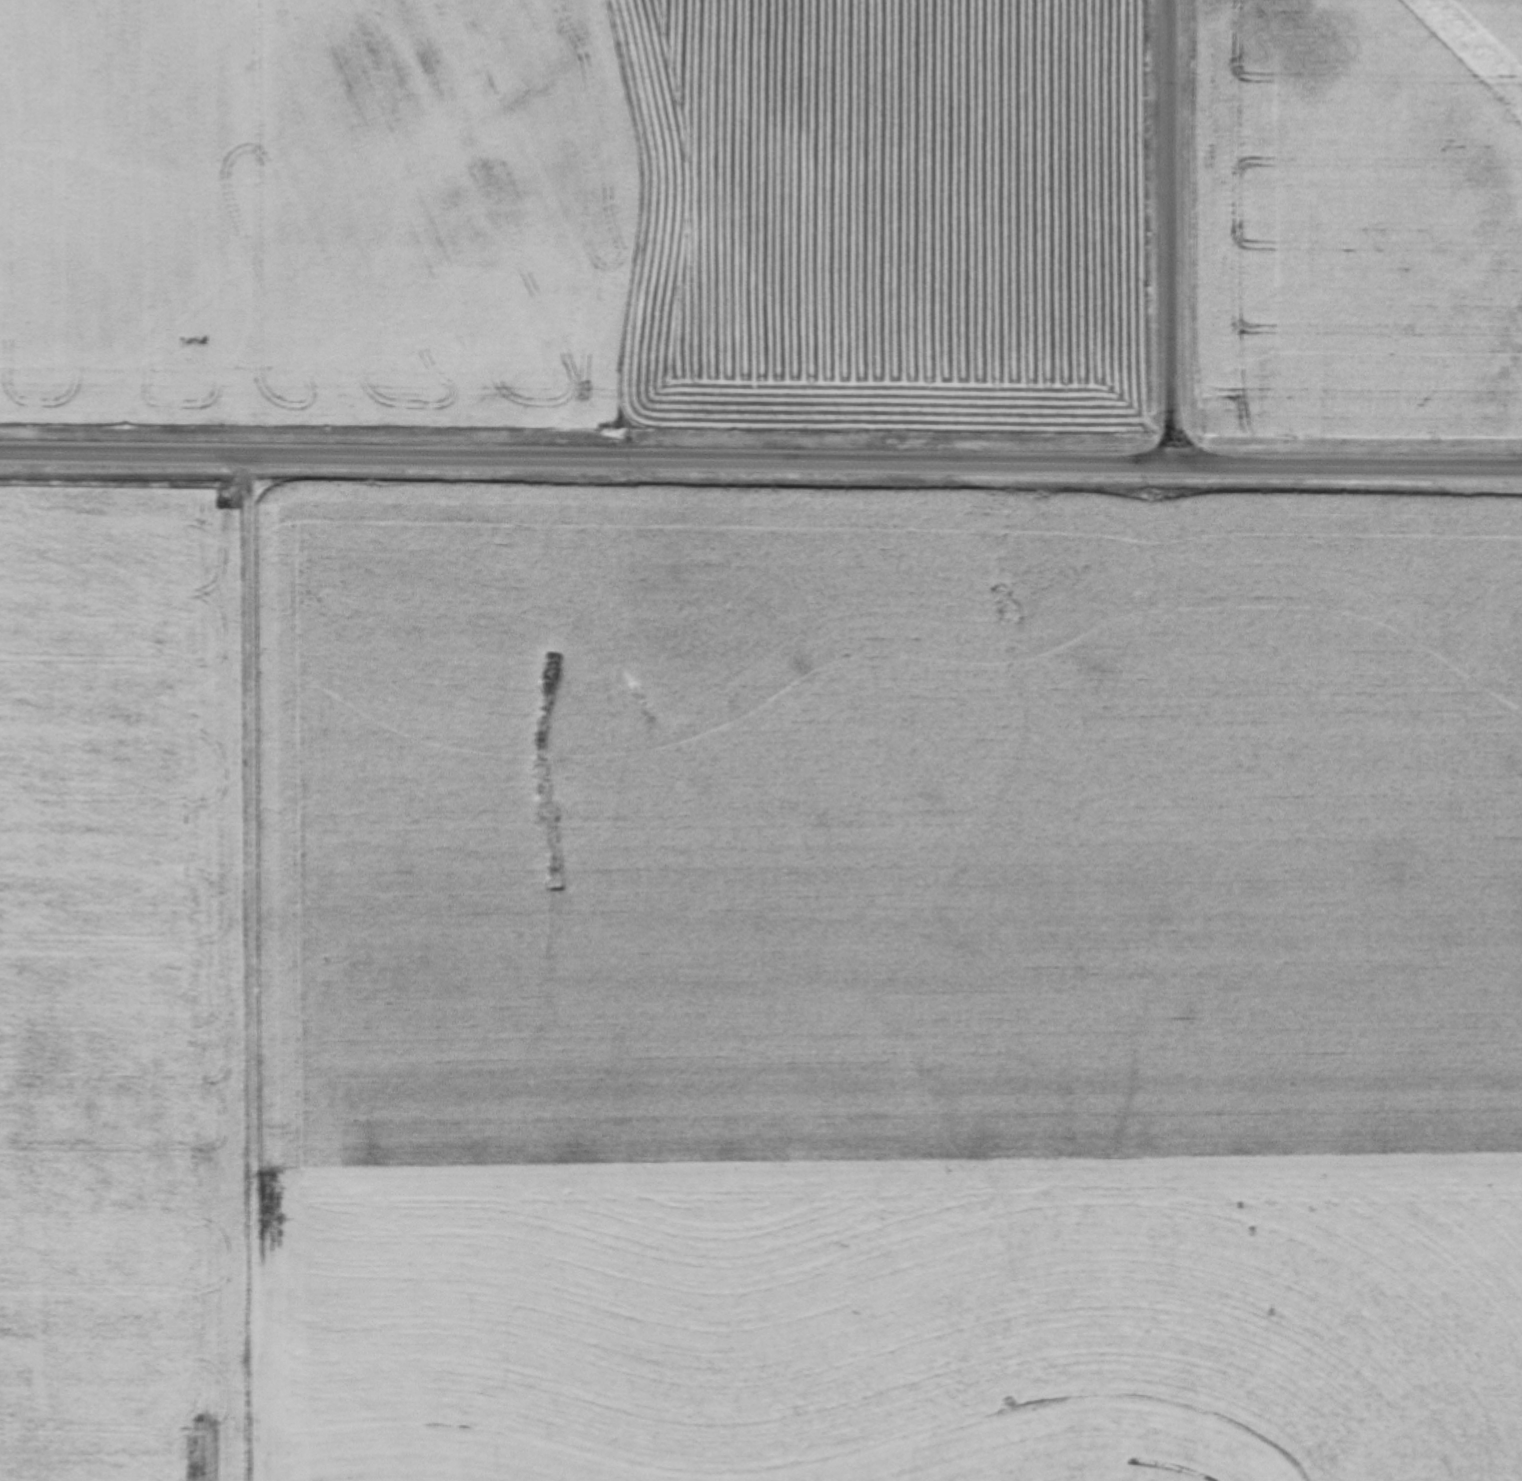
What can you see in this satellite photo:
road: (1175, 232)
road: (760, 449)

